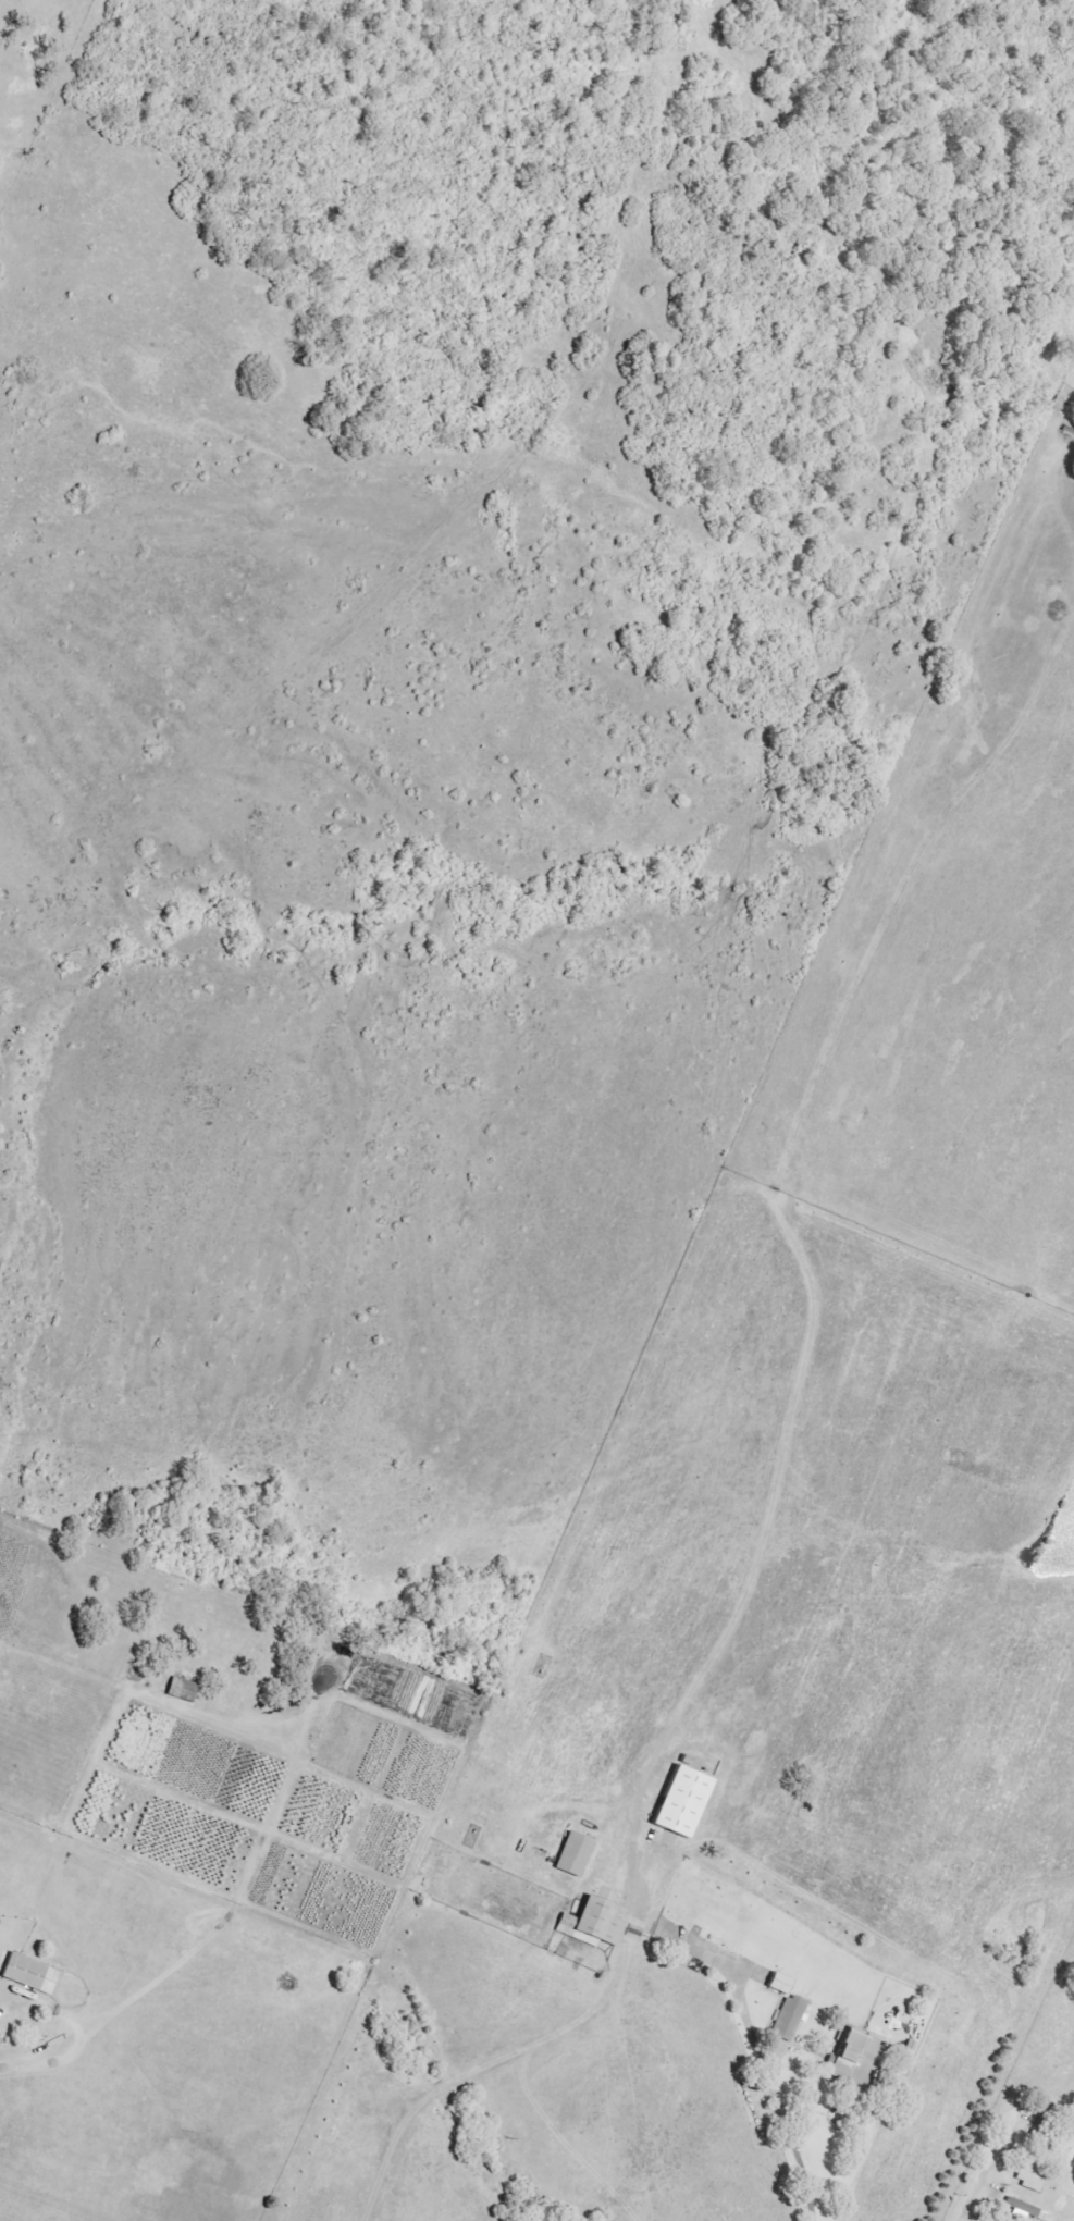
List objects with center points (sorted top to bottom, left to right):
building: (185, 1690)
building: (688, 1802)
building: (577, 1854)
building: (595, 1924)
building: (33, 1974)
building: (783, 1984)
building: (792, 2018)
building: (860, 2059)
road: (486, 2070)
road: (769, 2097)
road: (991, 2162)
building: (1032, 2179)
building: (1024, 2210)

